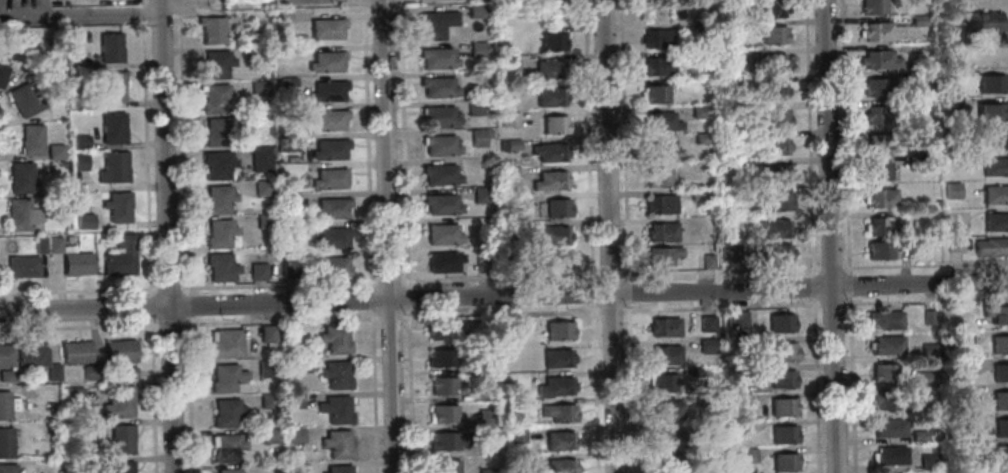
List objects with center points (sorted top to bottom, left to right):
building: (950, 2)
building: (871, 7)
road: (141, 9)
building: (764, 9)
building: (475, 11)
road: (80, 14)
building: (281, 16)
building: (918, 20)
building: (982, 23)
building: (435, 24)
building: (726, 27)
building: (325, 28)
building: (699, 29)
building: (211, 30)
building: (875, 31)
building: (772, 34)
building: (656, 39)
building: (253, 40)
building: (551, 41)
building: (109, 48)
building: (476, 50)
building: (696, 56)
building: (727, 56)
building: (437, 59)
building: (878, 60)
building: (325, 62)
building: (770, 62)
building: (509, 64)
building: (215, 65)
building: (657, 66)
building: (544, 71)
building: (2, 73)
building: (948, 75)
building: (920, 76)
building: (991, 84)
building: (286, 85)
building: (111, 87)
building: (258, 87)
building: (438, 87)
building: (876, 87)
building: (776, 90)
building: (327, 91)
building: (552, 95)
building: (652, 95)
building: (215, 99)
building: (25, 100)
building: (79, 102)
building: (951, 102)
building: (474, 107)
building: (728, 109)
building: (699, 112)
building: (990, 112)
building: (878, 114)
building: (438, 117)
building: (771, 118)
building: (510, 120)
building: (328, 121)
building: (661, 122)
building: (555, 124)
road: (1, 128)
building: (112, 128)
building: (220, 130)
building: (476, 137)
road: (808, 137)
road: (844, 137)
building: (701, 138)
building: (728, 139)
building: (994, 139)
building: (30, 140)
road: (622, 141)
building: (79, 142)
building: (287, 143)
building: (881, 143)
road: (366, 144)
building: (511, 144)
building: (439, 145)
building: (772, 146)
road: (182, 147)
building: (329, 149)
building: (661, 150)
building: (551, 151)
building: (55, 152)
road: (146, 157)
building: (960, 157)
building: (260, 158)
building: (79, 161)
building: (922, 161)
building: (219, 165)
building: (114, 167)
building: (994, 167)
building: (876, 171)
building: (773, 173)
building: (439, 175)
building: (20, 177)
building: (656, 177)
building: (330, 178)
building: (510, 178)
building: (552, 180)
building: (263, 186)
building: (951, 190)
building: (698, 194)
building: (994, 194)
building: (481, 195)
building: (219, 198)
building: (880, 198)
building: (289, 200)
building: (777, 201)
building: (660, 204)
building: (440, 205)
building: (118, 206)
building: (559, 207)
building: (331, 208)
building: (22, 214)
building: (264, 220)
building: (85, 221)
building: (995, 223)
building: (881, 226)
building: (294, 228)
building: (773, 229)
building: (222, 233)
building: (661, 233)
building: (443, 234)
building: (555, 235)
road: (166, 236)
road: (387, 236)
road: (608, 236)
road: (828, 236)
building: (334, 237)
building: (54, 244)
building: (953, 244)
building: (40, 245)
building: (991, 248)
building: (881, 250)
building: (728, 252)
building: (771, 253)
building: (120, 256)
building: (662, 256)
building: (563, 257)
building: (444, 261)
building: (707, 261)
building: (483, 263)
building: (78, 264)
road: (923, 264)
building: (332, 265)
building: (23, 266)
building: (221, 266)
building: (289, 268)
road: (829, 268)
road: (719, 270)
building: (259, 271)
road: (614, 274)
road: (383, 281)
road: (278, 284)
road: (847, 285)
road: (812, 286)
road: (169, 287)
road: (79, 290)
road: (627, 293)
road: (504, 297)
road: (592, 299)
road: (371, 300)
road: (925, 301)
road: (831, 304)
road: (188, 305)
road: (152, 306)
road: (408, 306)
road: (720, 307)
road: (610, 311)
road: (557, 312)
building: (996, 315)
road: (421, 316)
road: (389, 317)
building: (927, 318)
building: (737, 319)
building: (885, 319)
road: (280, 321)
road: (171, 323)
building: (707, 323)
building: (781, 324)
road: (80, 326)
building: (666, 327)
building: (441, 330)
building: (514, 330)
building: (558, 330)
building: (267, 333)
building: (335, 338)
building: (963, 339)
building: (226, 344)
building: (999, 344)
building: (738, 345)
building: (887, 345)
building: (707, 346)
building: (120, 350)
building: (77, 352)
building: (783, 352)
building: (33, 353)
building: (8, 355)
building: (666, 355)
building: (442, 358)
building: (557, 358)
building: (300, 364)
building: (483, 367)
building: (266, 368)
building: (961, 368)
building: (55, 371)
building: (129, 371)
building: (94, 372)
building: (693, 372)
building: (739, 373)
building: (884, 373)
building: (1000, 373)
building: (336, 374)
building: (9, 375)
building: (226, 377)
building: (782, 379)
building: (924, 379)
building: (663, 383)
road: (851, 384)
road: (815, 385)
building: (445, 386)
building: (505, 386)
building: (556, 386)
road: (595, 388)
road: (630, 388)
road: (373, 391)
road: (409, 392)
road: (154, 394)
road: (191, 394)
building: (964, 394)
building: (73, 396)
building: (479, 396)
building: (741, 399)
building: (294, 400)
building: (708, 400)
building: (268, 401)
building: (884, 401)
building: (1000, 401)
building: (119, 402)
building: (5, 404)
building: (783, 408)
building: (336, 409)
building: (919, 409)
building: (667, 411)
building: (227, 412)
building: (559, 412)
building: (444, 414)
building: (485, 418)
building: (960, 425)
building: (710, 427)
building: (890, 427)
building: (742, 428)
building: (1001, 428)
building: (785, 434)
building: (295, 435)
building: (270, 436)
building: (516, 436)
building: (918, 436)
building: (122, 438)
building: (669, 438)
building: (448, 440)
building: (560, 440)
building: (6, 442)
building: (338, 444)
building: (485, 444)
building: (226, 447)
building: (889, 455)
building: (747, 456)
building: (1002, 456)
building: (54, 461)
building: (786, 462)
building: (927, 462)
building: (668, 465)
building: (445, 466)
building: (557, 466)
building: (123, 467)
building: (8, 468)
building: (296, 468)
building: (339, 469)
building: (228, 470)
building: (486, 471)
building: (974, 472)

